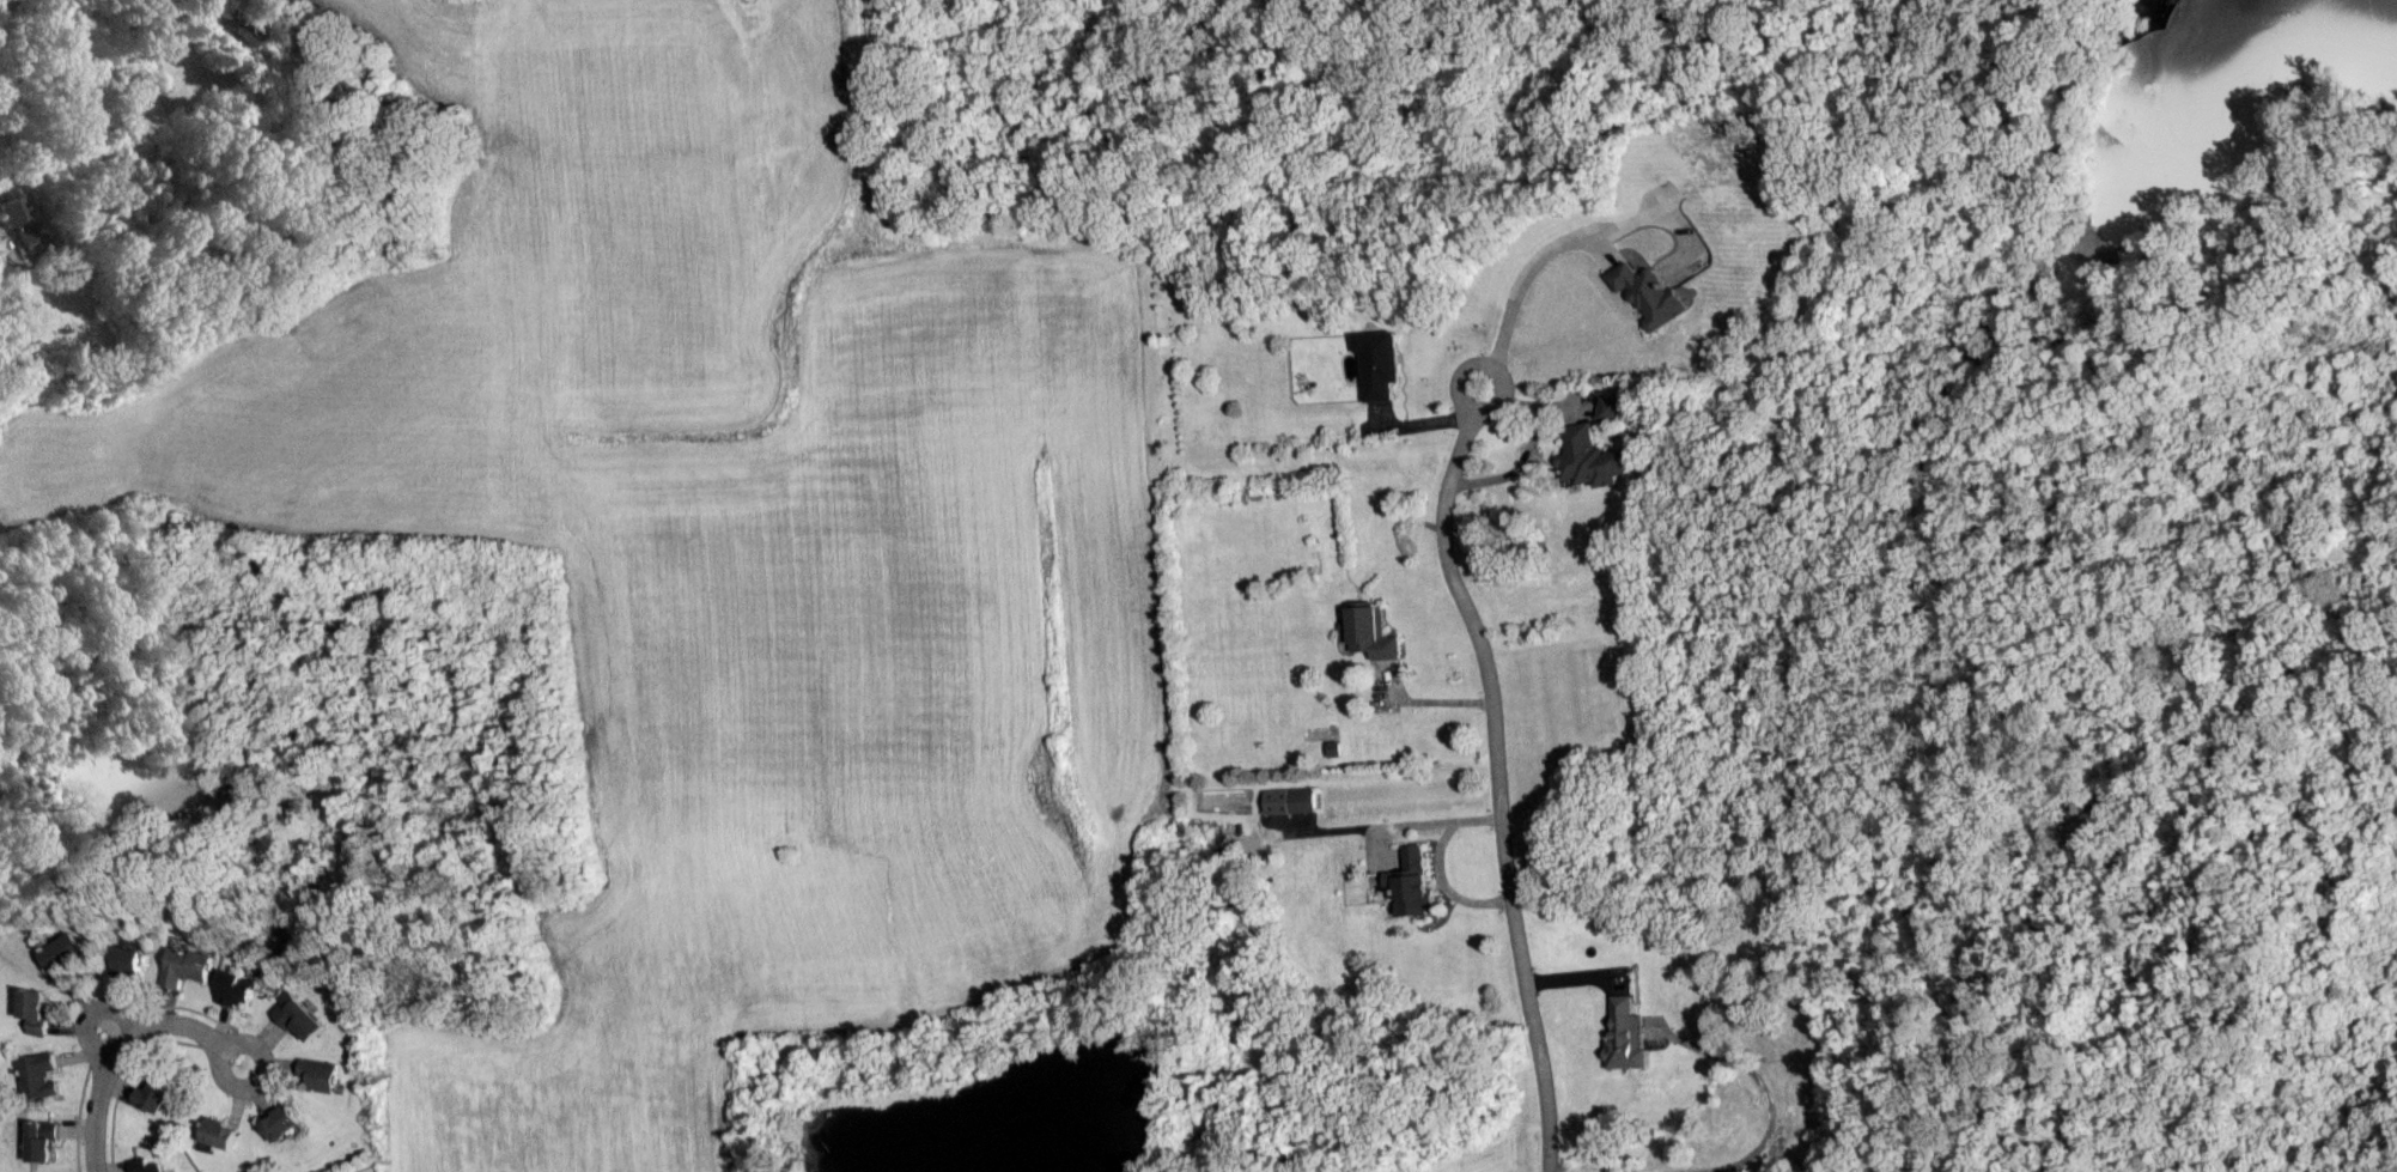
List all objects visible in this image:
road: (2, 4)
building: (251, 28)
building: (17, 220)
road: (1526, 284)
building: (1649, 294)
building: (12, 308)
building: (1379, 363)
road: (1488, 365)
building: (1608, 408)
building: (1592, 457)
crop: (716, 553)
building: (1369, 632)
road: (1501, 785)
building: (1288, 800)
road: (1444, 864)
building: (1411, 881)
building: (72, 957)
building: (136, 958)
building: (190, 966)
road: (1577, 974)
building: (241, 988)
building: (39, 1008)
road: (91, 1012)
building: (300, 1015)
road: (184, 1025)
building: (1628, 1036)
building: (322, 1074)
building: (39, 1075)
road: (256, 1079)
road: (1769, 1092)
road: (99, 1093)
building: (156, 1097)
building: (282, 1122)
building: (221, 1132)
building: (42, 1138)
building: (145, 1165)

